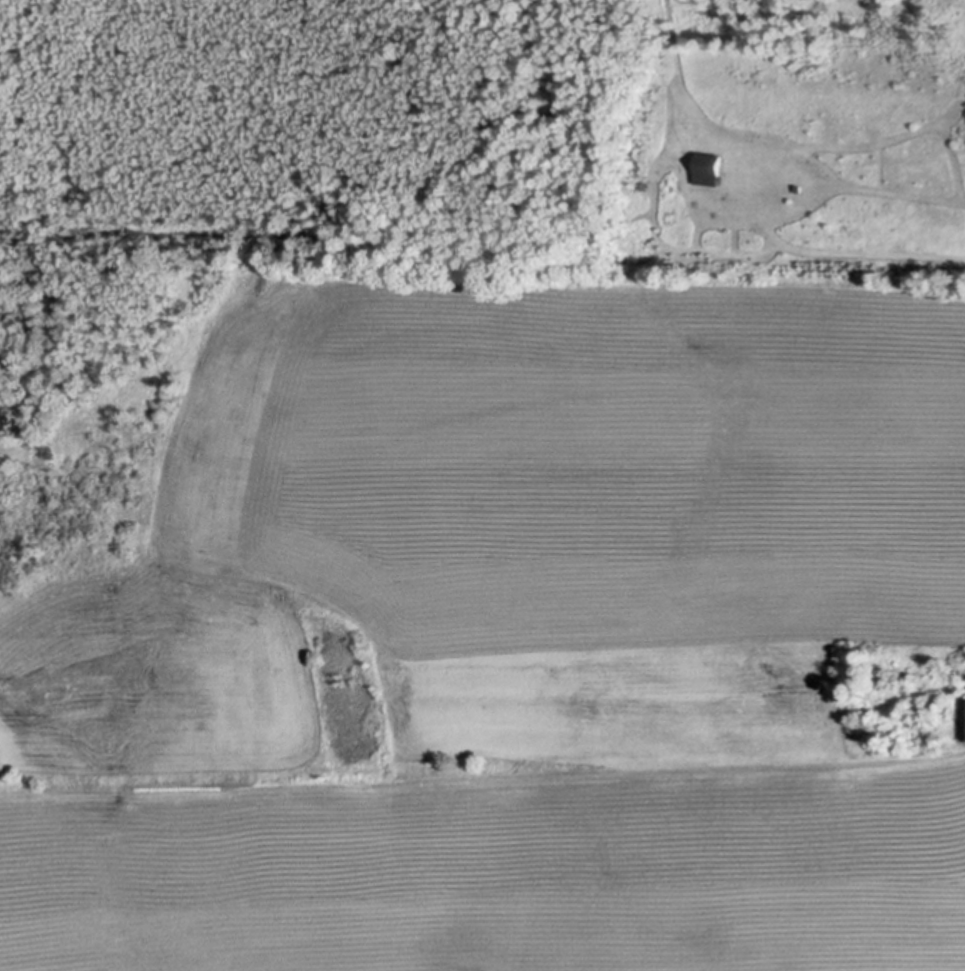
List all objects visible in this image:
building: (709, 163)
building: (964, 714)

